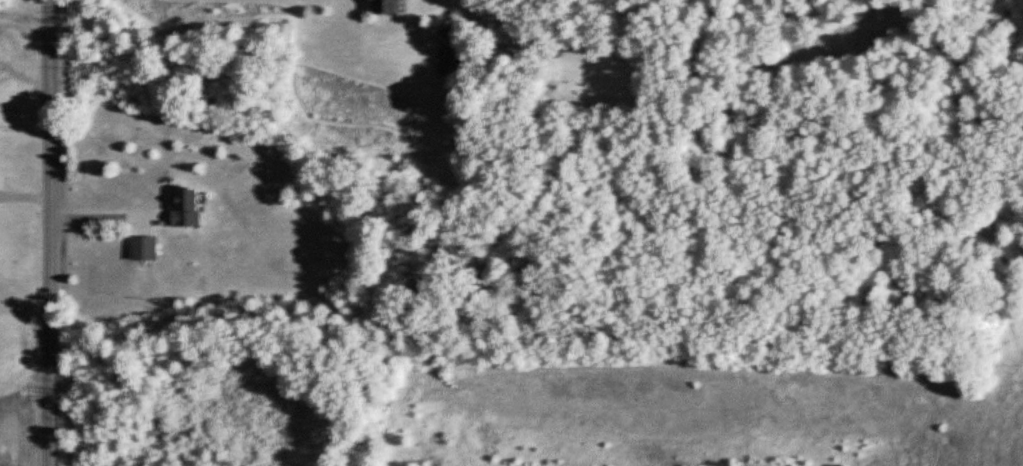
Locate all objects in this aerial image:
building: (391, 6)
building: (452, 59)
building: (190, 209)
road: (103, 215)
road: (49, 232)
building: (146, 248)

